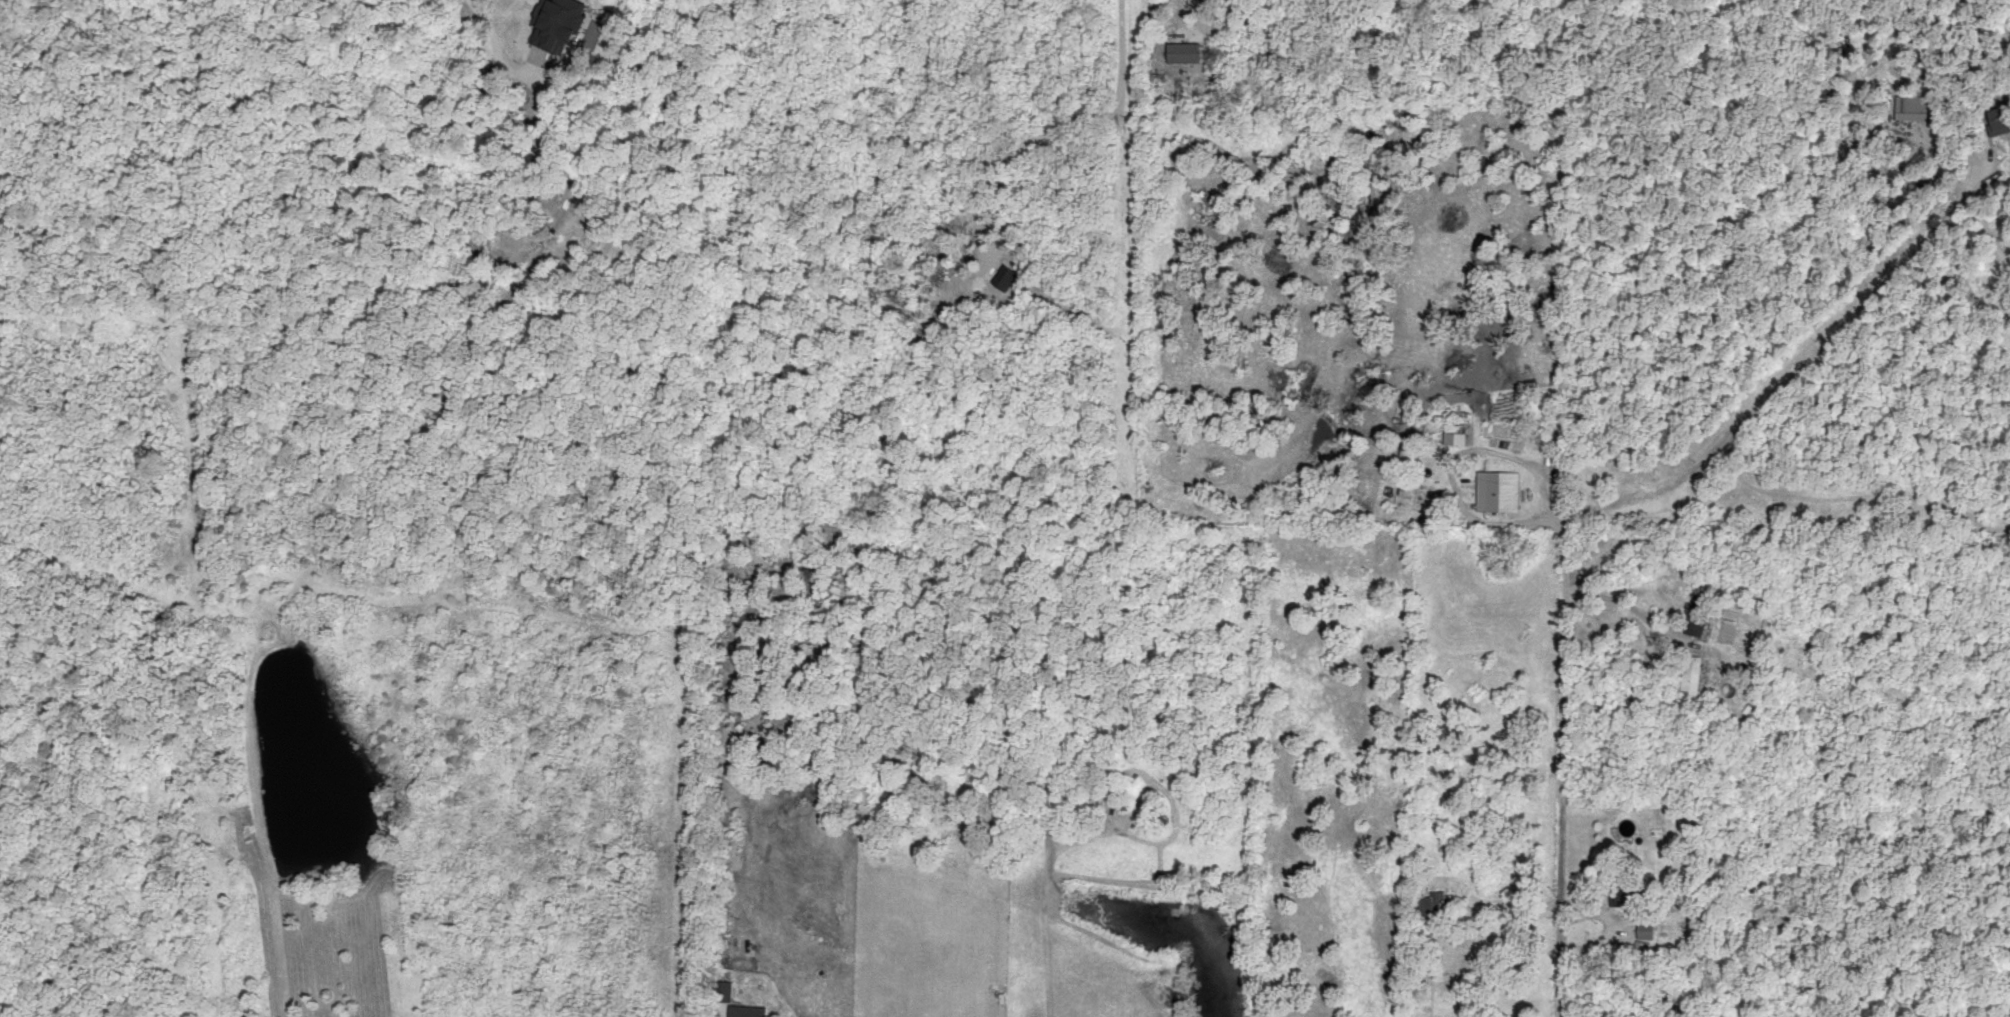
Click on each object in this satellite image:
road: (1188, 4)
road: (494, 19)
building: (563, 21)
building: (1186, 50)
building: (1915, 105)
building: (2003, 116)
road: (1050, 125)
road: (1991, 229)
road: (1778, 387)
building: (1457, 433)
building: (1500, 489)
road: (1492, 515)
road: (1621, 601)
building: (1701, 613)
building: (1691, 674)
road: (1559, 771)
building: (1632, 898)
building: (726, 989)
building: (752, 1010)

